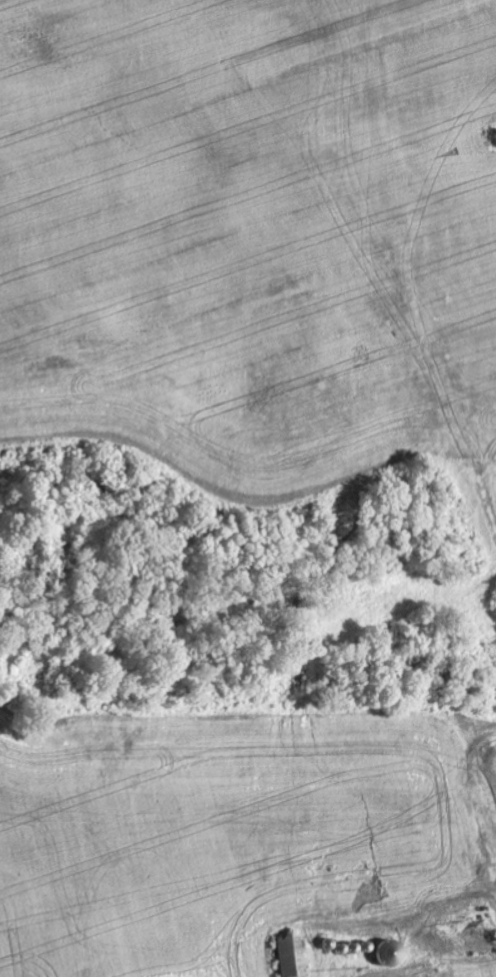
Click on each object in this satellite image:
building: (473, 942)
building: (289, 956)

